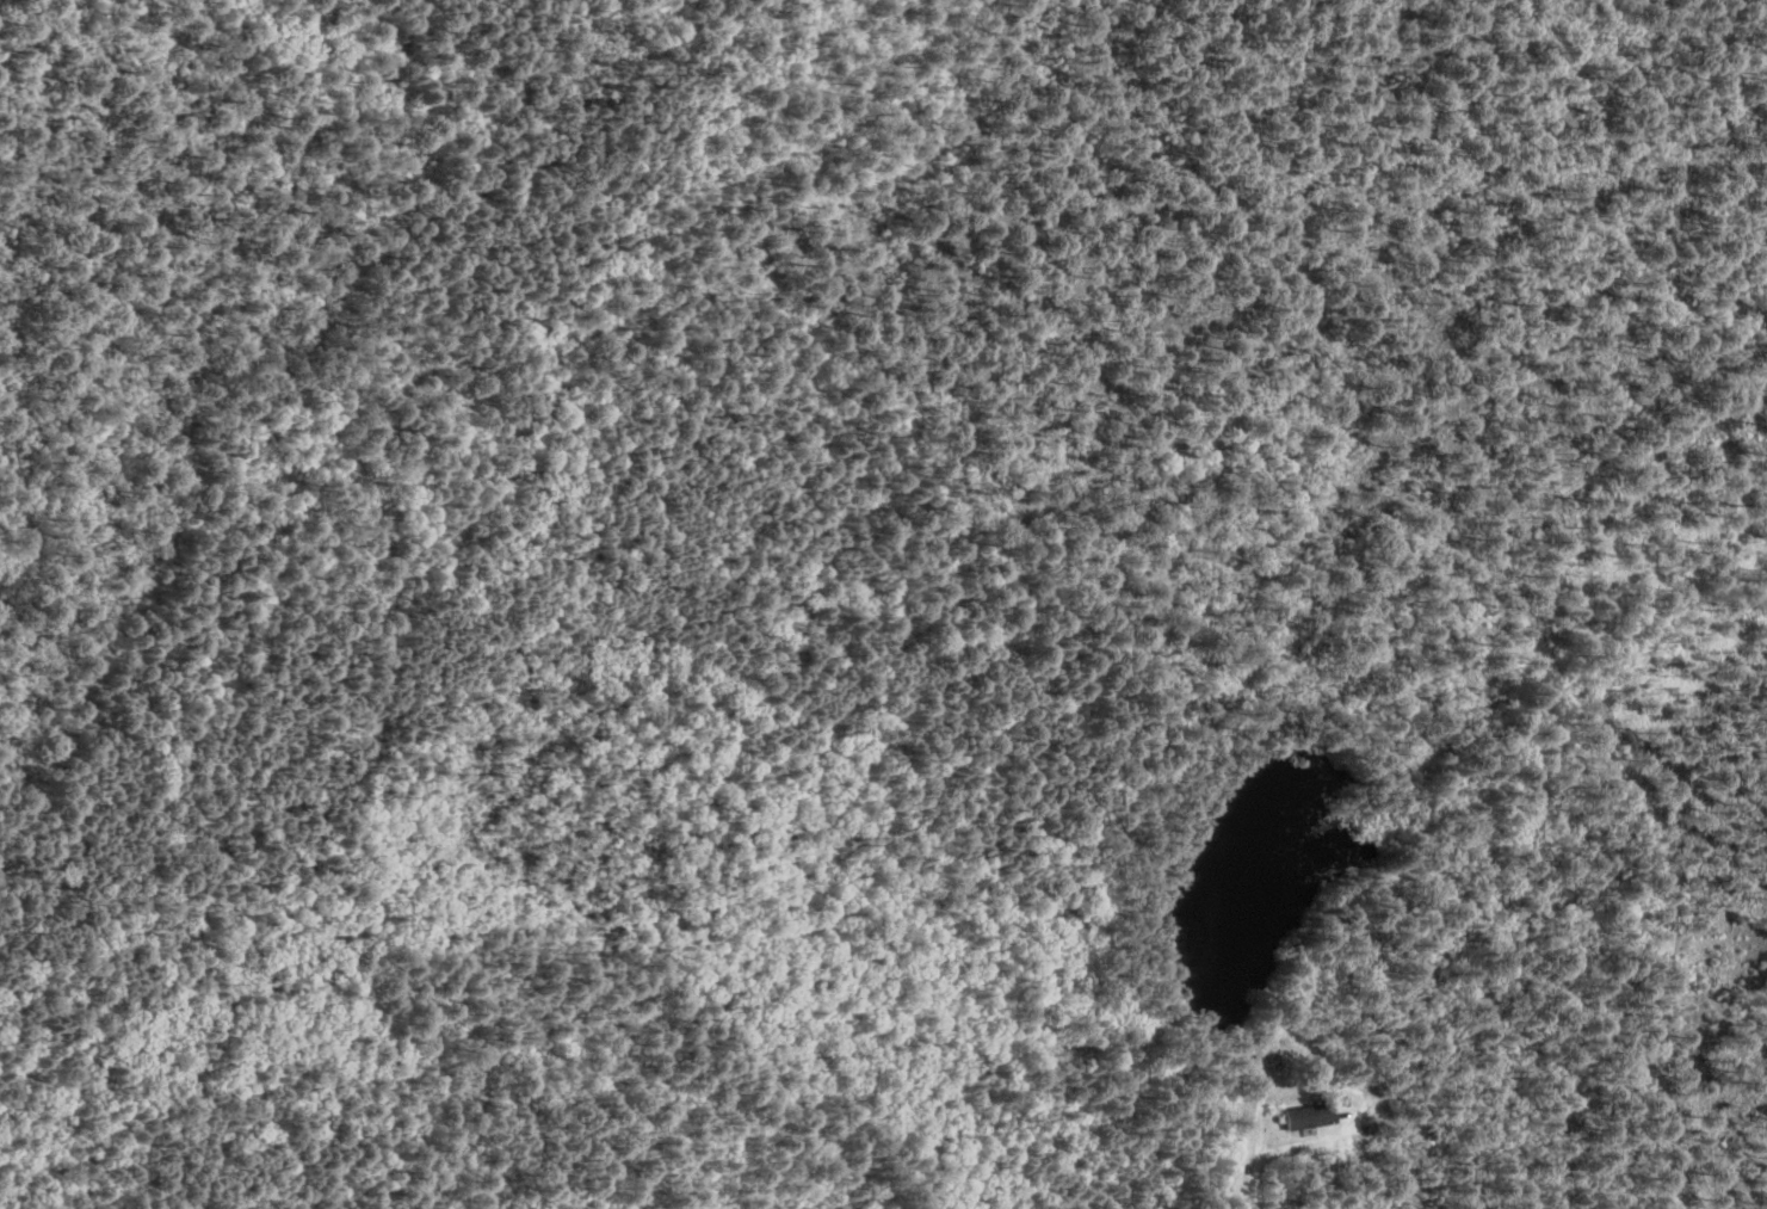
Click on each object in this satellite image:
building: (1306, 1114)

